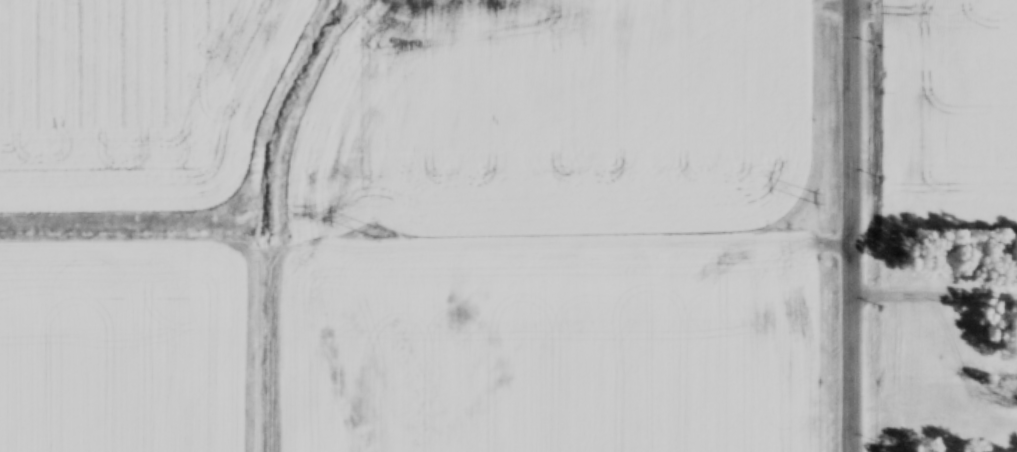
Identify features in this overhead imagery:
power tower: (815, 198)
road: (852, 226)
power tower: (372, 231)

